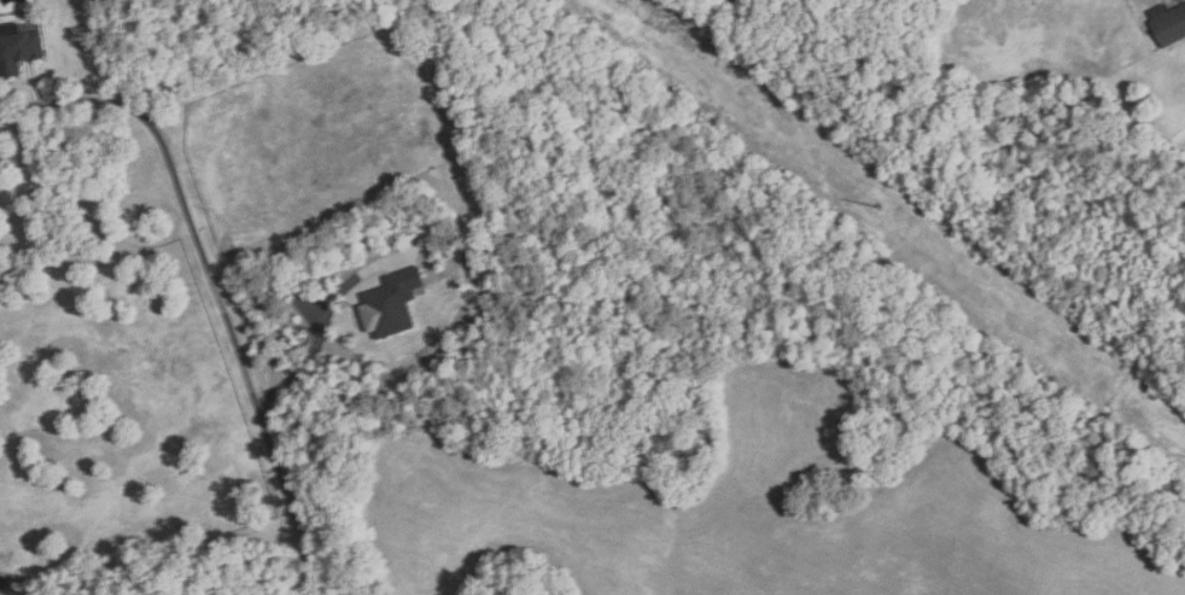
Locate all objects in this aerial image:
building: (70, 0)
building: (1168, 25)
building: (18, 51)
road: (71, 99)
power tower: (881, 209)
building: (472, 266)
building: (391, 303)
road: (321, 326)
road: (241, 350)

